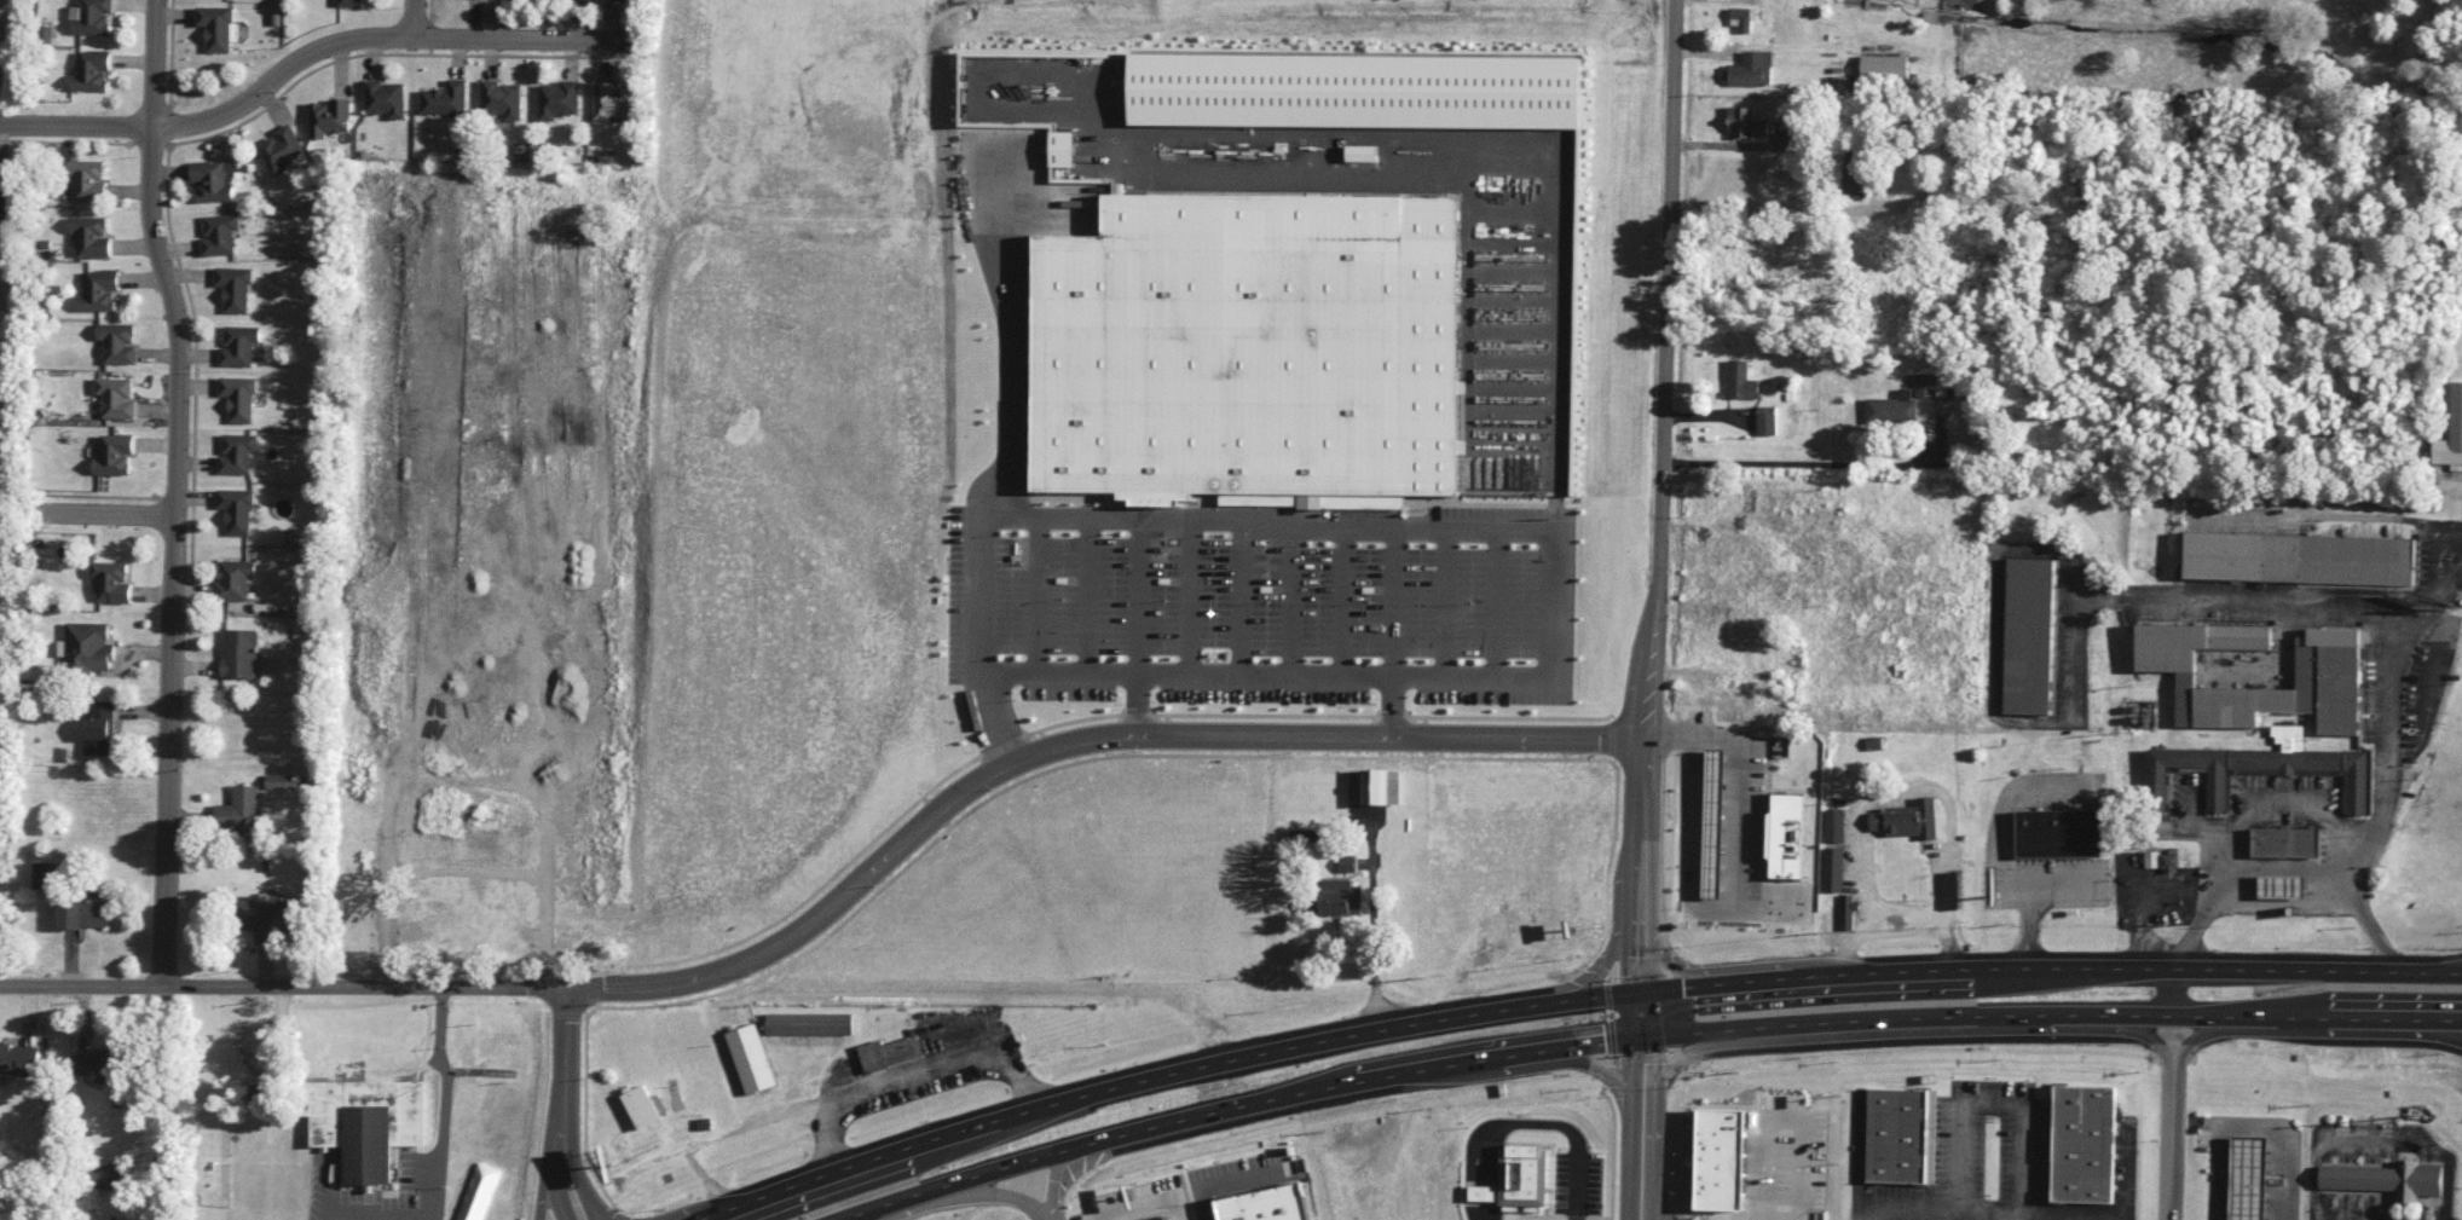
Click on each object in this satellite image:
building: (348, 2)
building: (92, 17)
road: (415, 18)
building: (1740, 18)
building: (215, 27)
road: (313, 54)
road: (152, 63)
building: (1884, 68)
building: (1750, 69)
building: (91, 71)
building: (1357, 91)
building: (383, 98)
building: (444, 99)
building: (499, 99)
building: (557, 99)
building: (612, 102)
building: (328, 117)
building: (1745, 123)
building: (279, 149)
building: (1060, 151)
building: (1363, 154)
building: (87, 179)
building: (212, 180)
building: (4, 189)
road: (1768, 203)
building: (219, 233)
building: (91, 236)
building: (233, 288)
building: (99, 290)
building: (117, 342)
building: (238, 345)
building: (1250, 351)
building: (1740, 381)
building: (1929, 389)
building: (116, 397)
building: (238, 398)
building: (1892, 407)
building: (1765, 420)
building: (2451, 433)
building: (236, 452)
building: (114, 453)
road: (1817, 462)
road: (1661, 495)
building: (236, 510)
road: (103, 511)
road: (174, 554)
building: (2299, 557)
building: (233, 579)
building: (110, 582)
building: (2028, 636)
building: (86, 648)
building: (239, 653)
road: (1174, 670)
building: (2327, 678)
road: (1132, 702)
road: (2388, 713)
building: (98, 728)
building: (2260, 769)
road: (1734, 780)
building: (281, 781)
building: (1383, 786)
building: (1808, 798)
building: (239, 810)
building: (1906, 820)
building: (1834, 825)
building: (2058, 833)
building: (2285, 842)
building: (2169, 862)
building: (1347, 863)
road: (2285, 868)
building: (1833, 869)
building: (44, 875)
building: (2281, 885)
building: (1689, 894)
building: (1750, 894)
road: (840, 896)
building: (1341, 897)
road: (1901, 909)
building: (83, 912)
building: (1846, 912)
building: (266, 914)
road: (2045, 970)
road: (2454, 970)
road: (2454, 972)
traffic signals: (1646, 990)
road: (1646, 1013)
building: (809, 1023)
road: (2409, 1027)
road: (2197, 1035)
road: (2154, 1036)
road: (1643, 1037)
traffic signals: (1646, 1037)
building: (889, 1053)
building: (751, 1058)
building: (19, 1059)
building: (98, 1066)
road: (565, 1068)
road: (1178, 1074)
building: (259, 1093)
road: (439, 1103)
road: (1996, 1105)
building: (643, 1106)
building: (366, 1123)
road: (1629, 1127)
road: (1654, 1127)
road: (2250, 1128)
building: (1897, 1135)
building: (2084, 1144)
road: (2172, 1144)
road: (1861, 1155)
building: (1721, 1158)
road: (2126, 1172)
building: (103, 1175)
building: (1516, 1178)
building: (2248, 1178)
road: (1219, 1179)
building: (2387, 1179)
road: (555, 1185)
road: (577, 1185)
road: (1051, 1187)
road: (1000, 1196)
building: (1264, 1204)
road: (1992, 1212)
road: (371, 1219)
building: (1160, 1219)

